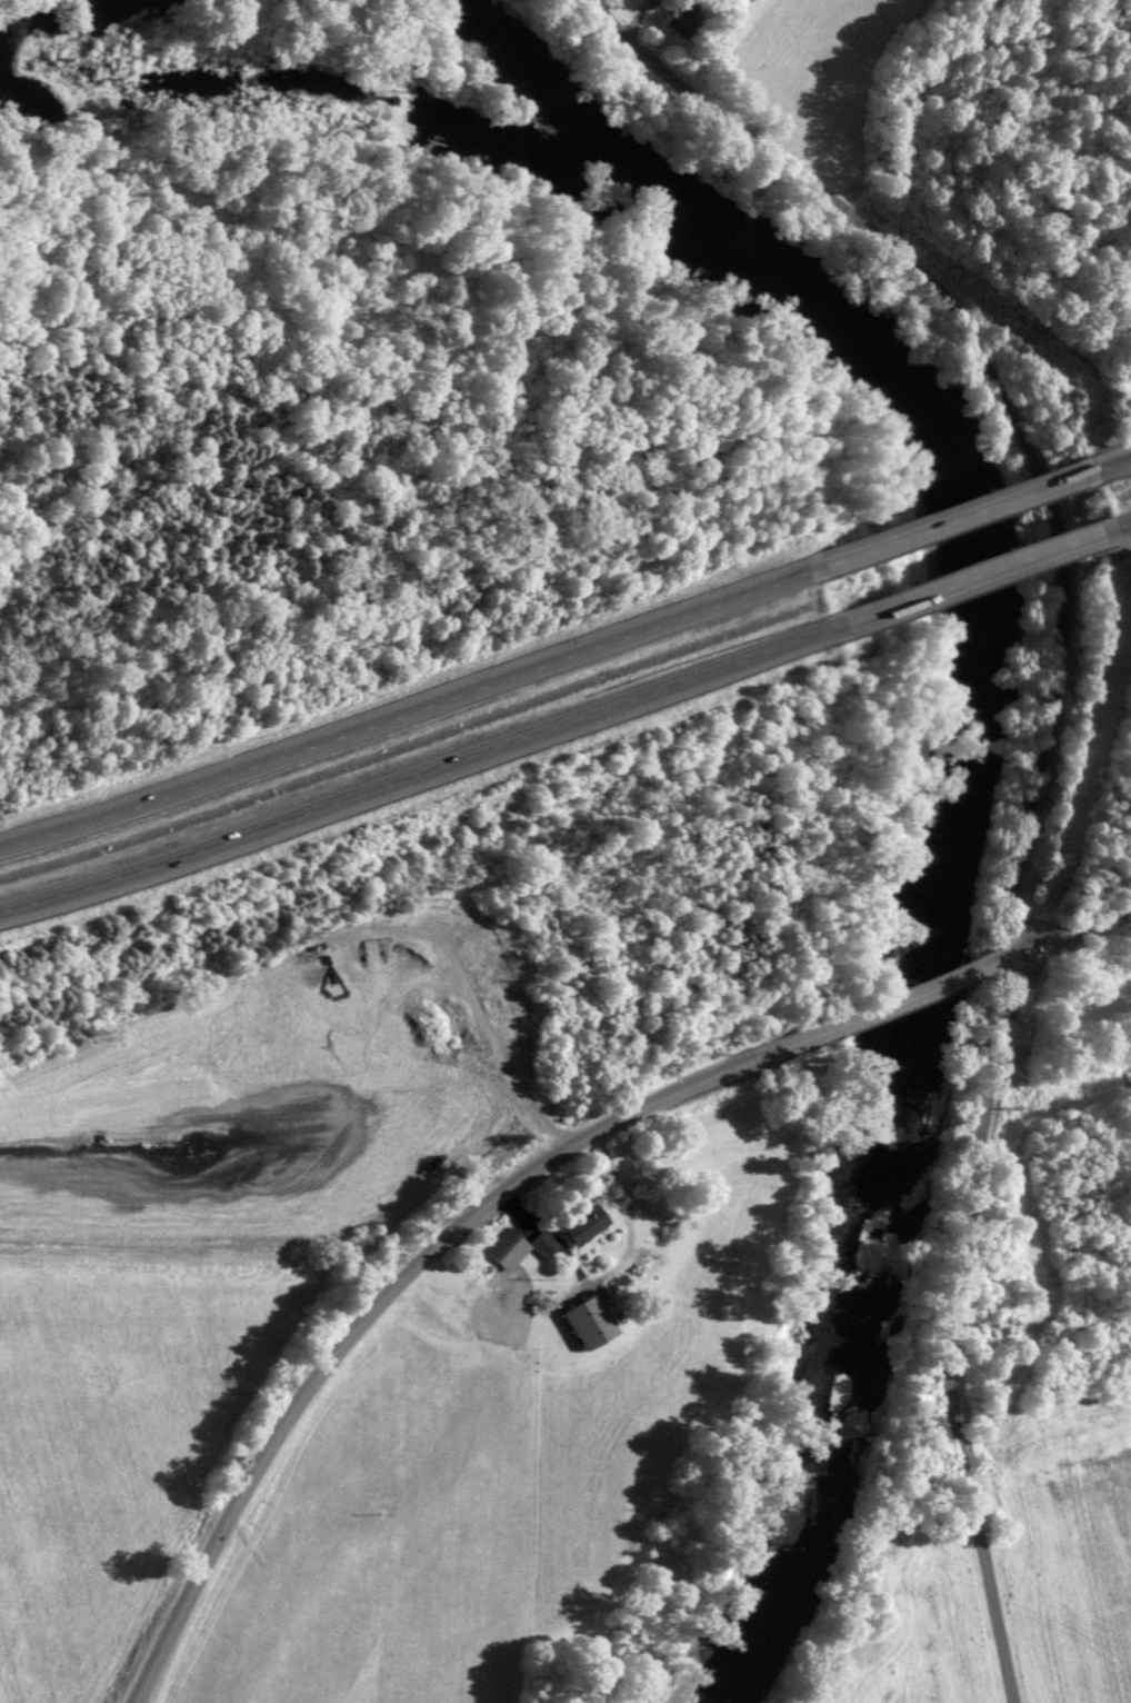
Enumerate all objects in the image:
building: (671, 18)
road: (941, 289)
road: (969, 518)
river: (899, 570)
road: (975, 578)
road: (403, 710)
road: (410, 771)
road: (1072, 926)
road: (831, 1023)
road: (968, 1197)
building: (579, 1224)
building: (539, 1244)
building: (503, 1248)
building: (581, 1321)
road: (333, 1350)

